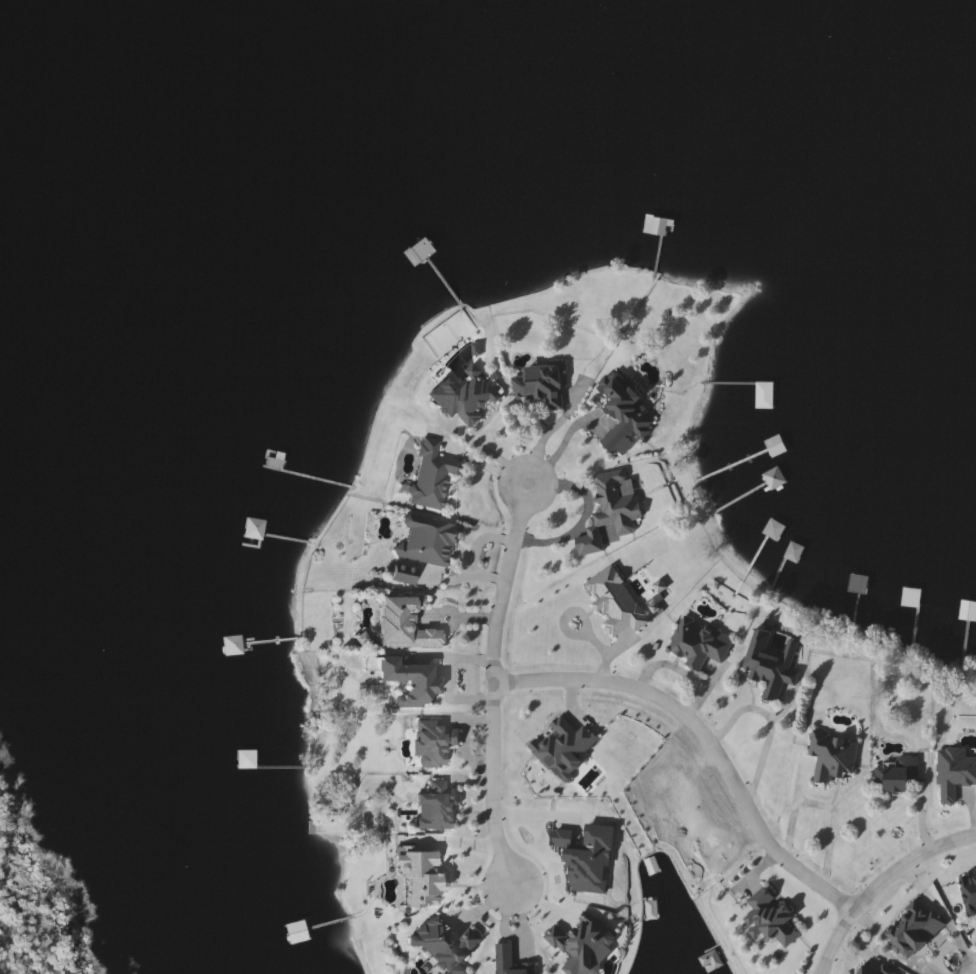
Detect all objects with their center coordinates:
building: (929, 173)
building: (973, 272)
building: (541, 385)
building: (762, 395)
building: (464, 398)
building: (624, 413)
road: (545, 433)
road: (566, 443)
building: (773, 451)
building: (432, 475)
building: (613, 510)
building: (771, 530)
building: (425, 540)
building: (792, 552)
building: (404, 575)
building: (856, 584)
building: (404, 624)
building: (699, 643)
building: (410, 682)
road: (495, 682)
road: (769, 722)
road: (700, 736)
building: (433, 743)
building: (562, 748)
building: (826, 754)
building: (244, 759)
building: (951, 770)
building: (890, 774)
road: (922, 803)
building: (438, 806)
road: (791, 809)
road: (830, 829)
building: (421, 878)
road: (876, 883)
building: (966, 890)
building: (765, 918)
building: (906, 928)
building: (444, 945)
building: (509, 961)
building: (872, 967)

